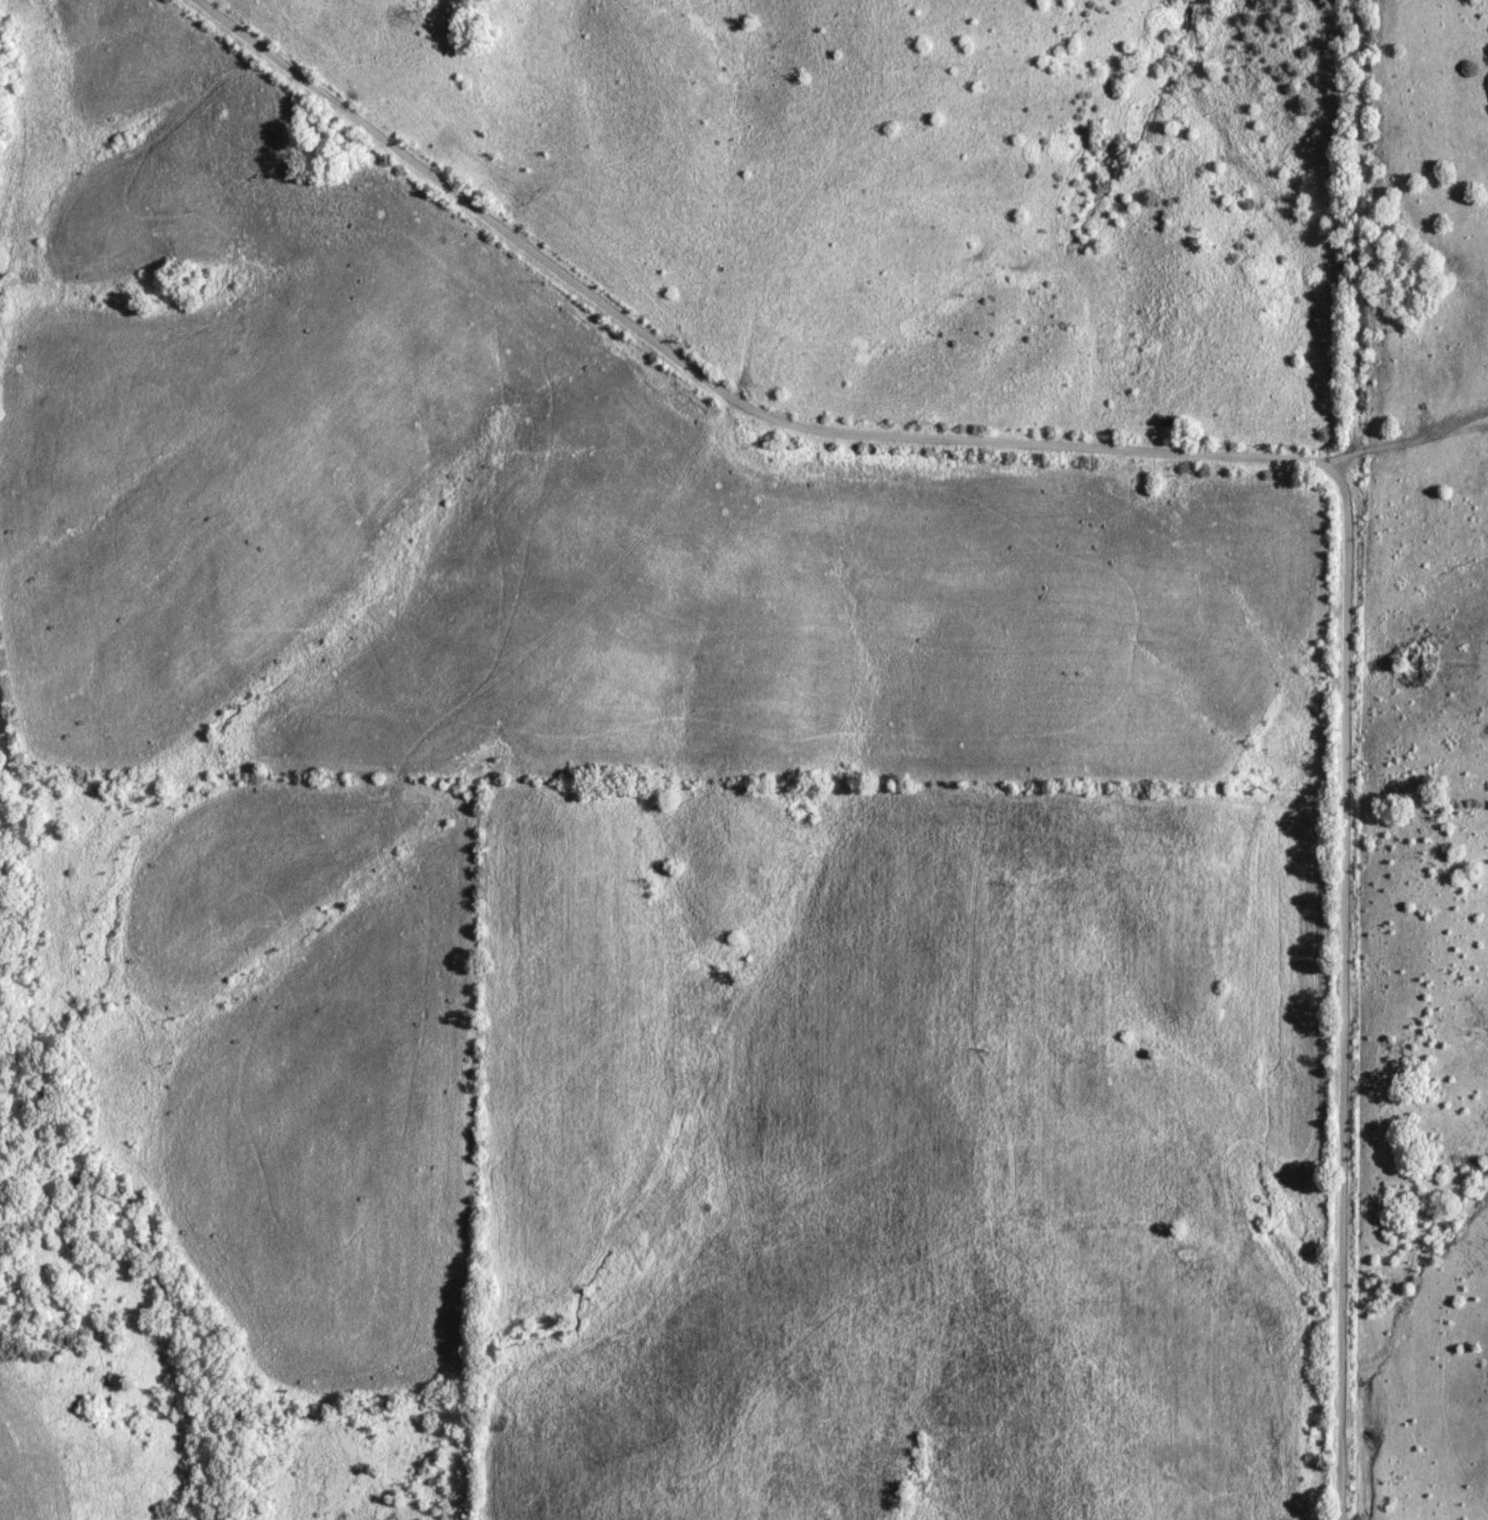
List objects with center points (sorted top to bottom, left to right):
road: (711, 380)
road: (1400, 442)
road: (1343, 992)

